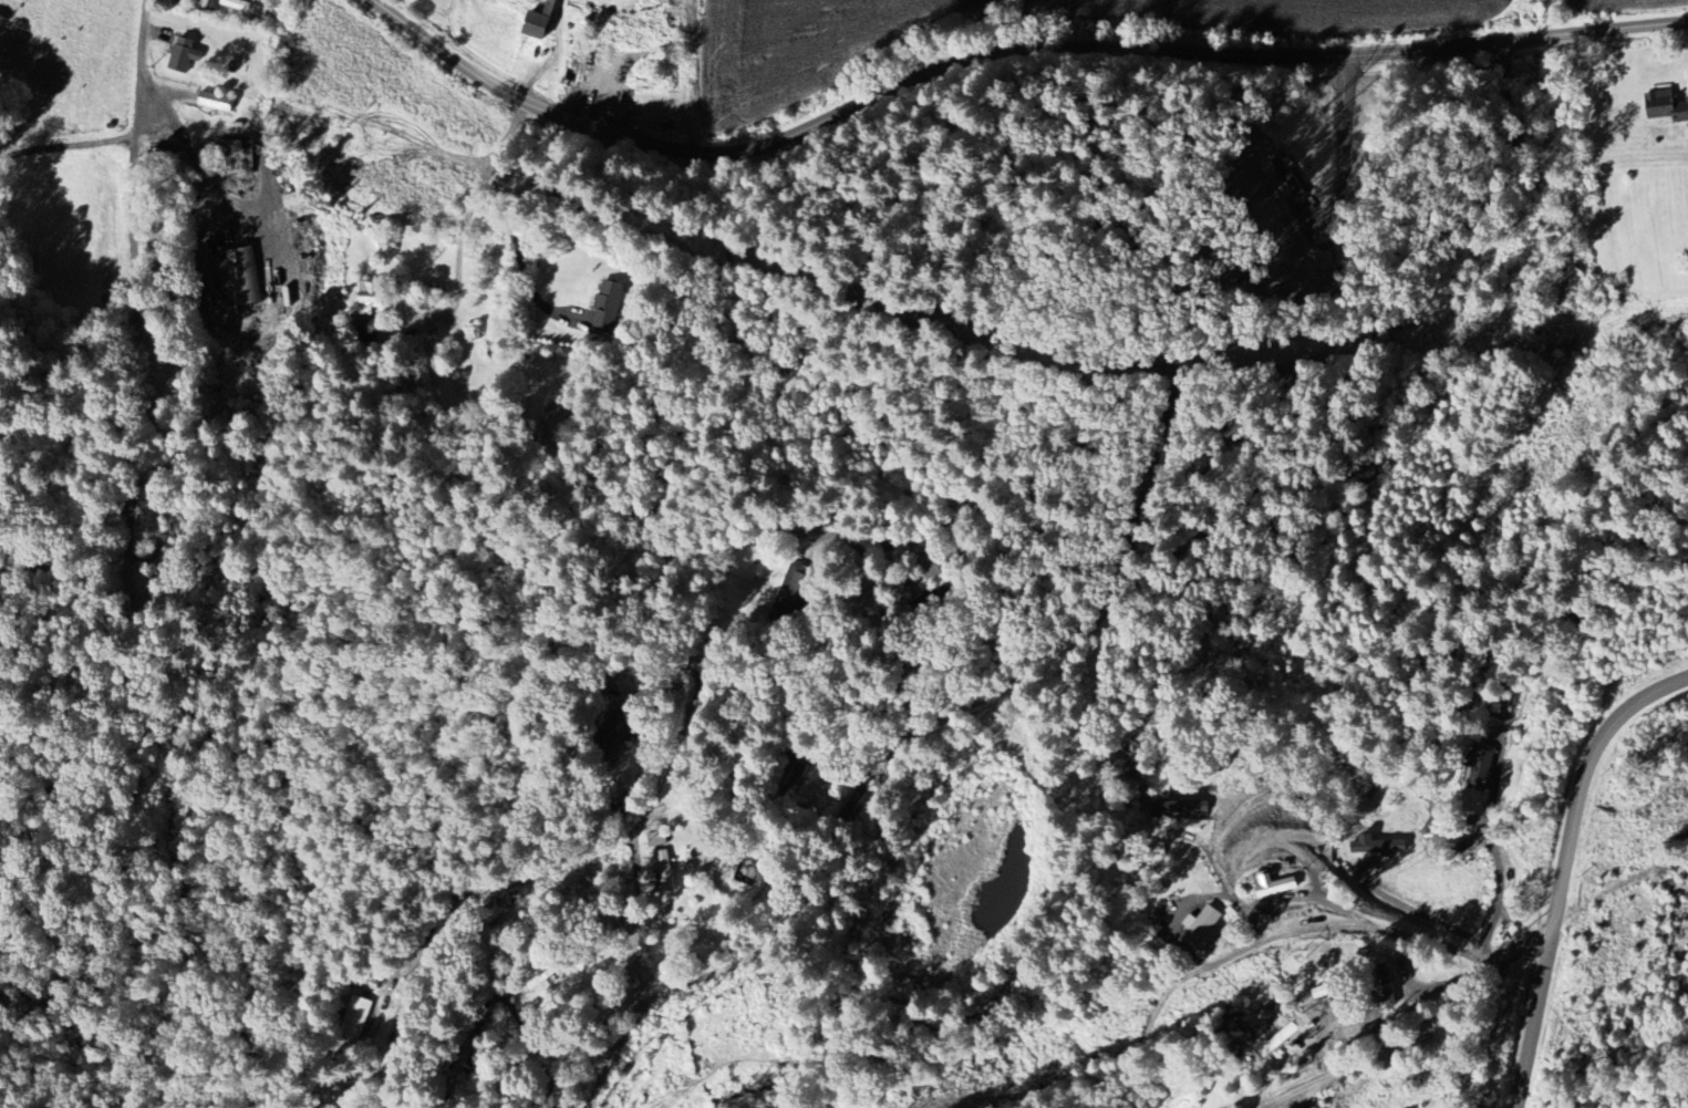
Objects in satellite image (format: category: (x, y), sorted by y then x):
building: (245, 7)
building: (540, 21)
road: (1002, 52)
building: (184, 54)
building: (216, 102)
building: (1668, 105)
road: (66, 145)
road: (1344, 160)
road: (475, 209)
road: (517, 214)
road: (133, 221)
building: (244, 277)
building: (369, 299)
building: (608, 306)
park: (168, 324)
building: (365, 331)
building: (1562, 352)
road: (869, 577)
building: (797, 586)
road: (1095, 623)
building: (656, 838)
building: (1457, 843)
building: (1378, 846)
road: (1567, 870)
building: (665, 871)
road: (1241, 872)
road: (500, 881)
building: (1273, 886)
building: (1202, 926)
road: (1199, 976)
building: (1390, 984)
building: (1327, 990)
building: (356, 1016)
road: (1432, 1024)
building: (1278, 1042)
road: (1297, 1107)

